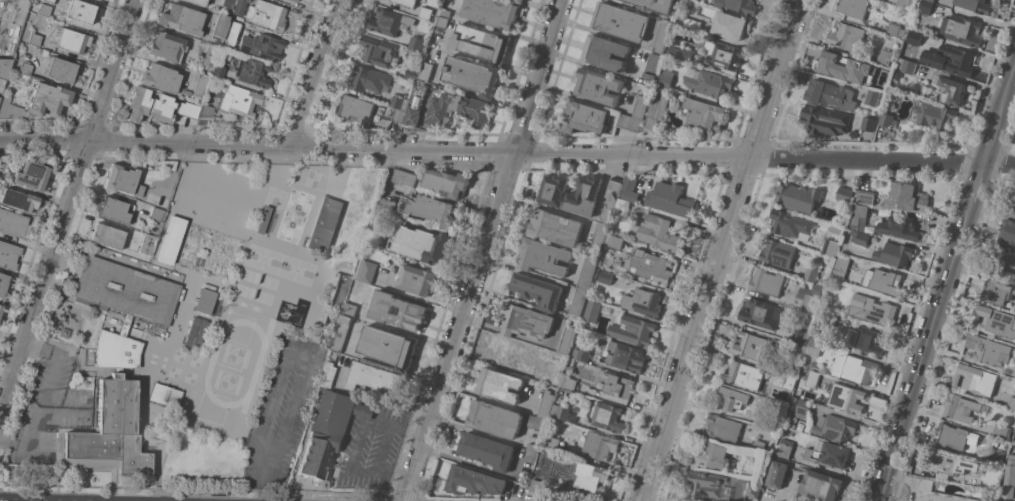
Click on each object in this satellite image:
building: (104, 0)
building: (294, 0)
building: (931, 0)
building: (50, 1)
building: (519, 1)
building: (198, 2)
building: (407, 2)
building: (907, 3)
building: (654, 5)
building: (739, 5)
building: (975, 5)
building: (228, 6)
building: (923, 6)
building: (239, 7)
building: (853, 7)
building: (44, 11)
building: (82, 11)
building: (445, 11)
building: (425, 12)
building: (493, 12)
building: (266, 15)
building: (181, 20)
building: (388, 21)
building: (621, 21)
building: (7, 23)
building: (692, 23)
building: (731, 25)
building: (219, 26)
building: (439, 30)
building: (896, 30)
building: (962, 30)
building: (663, 35)
building: (846, 36)
building: (914, 37)
building: (34, 40)
building: (72, 40)
building: (415, 41)
building: (482, 43)
building: (230, 46)
building: (167, 47)
building: (261, 47)
building: (379, 50)
building: (605, 52)
building: (680, 52)
building: (723, 53)
building: (210, 55)
building: (885, 56)
building: (950, 59)
building: (653, 65)
building: (907, 65)
building: (849, 67)
building: (3, 69)
building: (25, 69)
building: (62, 69)
building: (426, 70)
building: (218, 72)
road: (313, 72)
building: (252, 73)
building: (412, 73)
building: (472, 75)
building: (898, 75)
building: (160, 78)
building: (369, 78)
building: (666, 78)
building: (22, 79)
building: (709, 82)
building: (598, 85)
building: (200, 86)
road: (1007, 87)
building: (918, 88)
building: (952, 90)
building: (831, 94)
building: (896, 95)
building: (872, 97)
building: (47, 100)
building: (239, 101)
building: (399, 102)
building: (416, 103)
building: (138, 104)
building: (641, 106)
building: (354, 107)
building: (161, 108)
building: (9, 109)
building: (457, 109)
building: (187, 110)
building: (205, 112)
building: (656, 112)
building: (703, 113)
building: (398, 114)
building: (936, 115)
building: (585, 117)
building: (888, 119)
building: (825, 120)
building: (630, 122)
building: (869, 123)
building: (853, 132)
road: (991, 138)
road: (507, 152)
building: (31, 175)
building: (404, 177)
building: (123, 181)
building: (446, 182)
building: (617, 183)
building: (629, 188)
building: (571, 193)
building: (845, 193)
road: (973, 193)
building: (798, 196)
building: (866, 196)
building: (908, 197)
building: (670, 199)
building: (19, 200)
building: (386, 204)
building: (623, 204)
building: (1014, 207)
building: (239, 208)
building: (430, 208)
building: (608, 209)
road: (67, 210)
building: (113, 210)
building: (156, 215)
building: (858, 217)
building: (263, 220)
building: (378, 222)
building: (13, 223)
building: (325, 224)
building: (791, 224)
building: (556, 227)
building: (900, 227)
building: (836, 229)
building: (1008, 231)
building: (659, 232)
building: (105, 236)
building: (599, 236)
building: (861, 238)
building: (170, 240)
building: (615, 240)
building: (421, 243)
building: (147, 244)
building: (830, 247)
road: (483, 250)
road: (721, 250)
building: (778, 252)
building: (895, 254)
building: (8, 255)
building: (544, 256)
building: (1005, 263)
building: (651, 265)
building: (841, 267)
building: (366, 271)
building: (587, 271)
building: (811, 273)
building: (606, 277)
building: (417, 279)
building: (766, 281)
building: (886, 281)
building: (3, 285)
building: (538, 290)
building: (125, 291)
building: (995, 291)
building: (813, 299)
building: (579, 300)
building: (204, 301)
building: (642, 301)
building: (0, 307)
building: (350, 309)
building: (872, 309)
building: (413, 310)
building: (592, 310)
building: (761, 313)
building: (835, 319)
building: (527, 321)
building: (994, 321)
building: (125, 325)
building: (633, 330)
building: (342, 332)
building: (64, 333)
building: (195, 333)
building: (818, 334)
building: (801, 336)
building: (566, 339)
building: (864, 340)
road: (927, 342)
building: (389, 346)
building: (752, 346)
building: (815, 346)
building: (797, 349)
building: (988, 349)
building: (115, 351)
road: (291, 353)
building: (514, 353)
building: (581, 354)
building: (626, 356)
building: (855, 368)
building: (118, 370)
building: (329, 374)
building: (557, 374)
building: (744, 375)
building: (1014, 377)
building: (375, 378)
building: (812, 378)
building: (974, 379)
building: (789, 380)
building: (568, 383)
building: (500, 385)
building: (619, 385)
building: (165, 395)
building: (733, 397)
building: (847, 398)
building: (1012, 402)
building: (546, 403)
building: (793, 403)
building: (960, 407)
building: (364, 410)
building: (559, 410)
building: (802, 411)
road: (37, 415)
building: (608, 416)
building: (495, 418)
building: (537, 422)
building: (723, 427)
building: (836, 428)
building: (326, 431)
building: (1002, 431)
building: (111, 432)
building: (953, 435)
building: (552, 442)
road: (361, 443)
building: (759, 444)
building: (600, 445)
building: (533, 447)
building: (784, 448)
building: (487, 450)
building: (828, 453)
building: (712, 454)
building: (997, 456)
building: (942, 462)
road: (475, 465)
building: (748, 469)
building: (776, 474)
building: (588, 475)
building: (1010, 478)
road: (884, 480)
building: (474, 481)
building: (995, 482)
building: (706, 484)
building: (536, 485)
building: (820, 485)
building: (753, 489)
road: (265, 492)
building: (937, 493)

